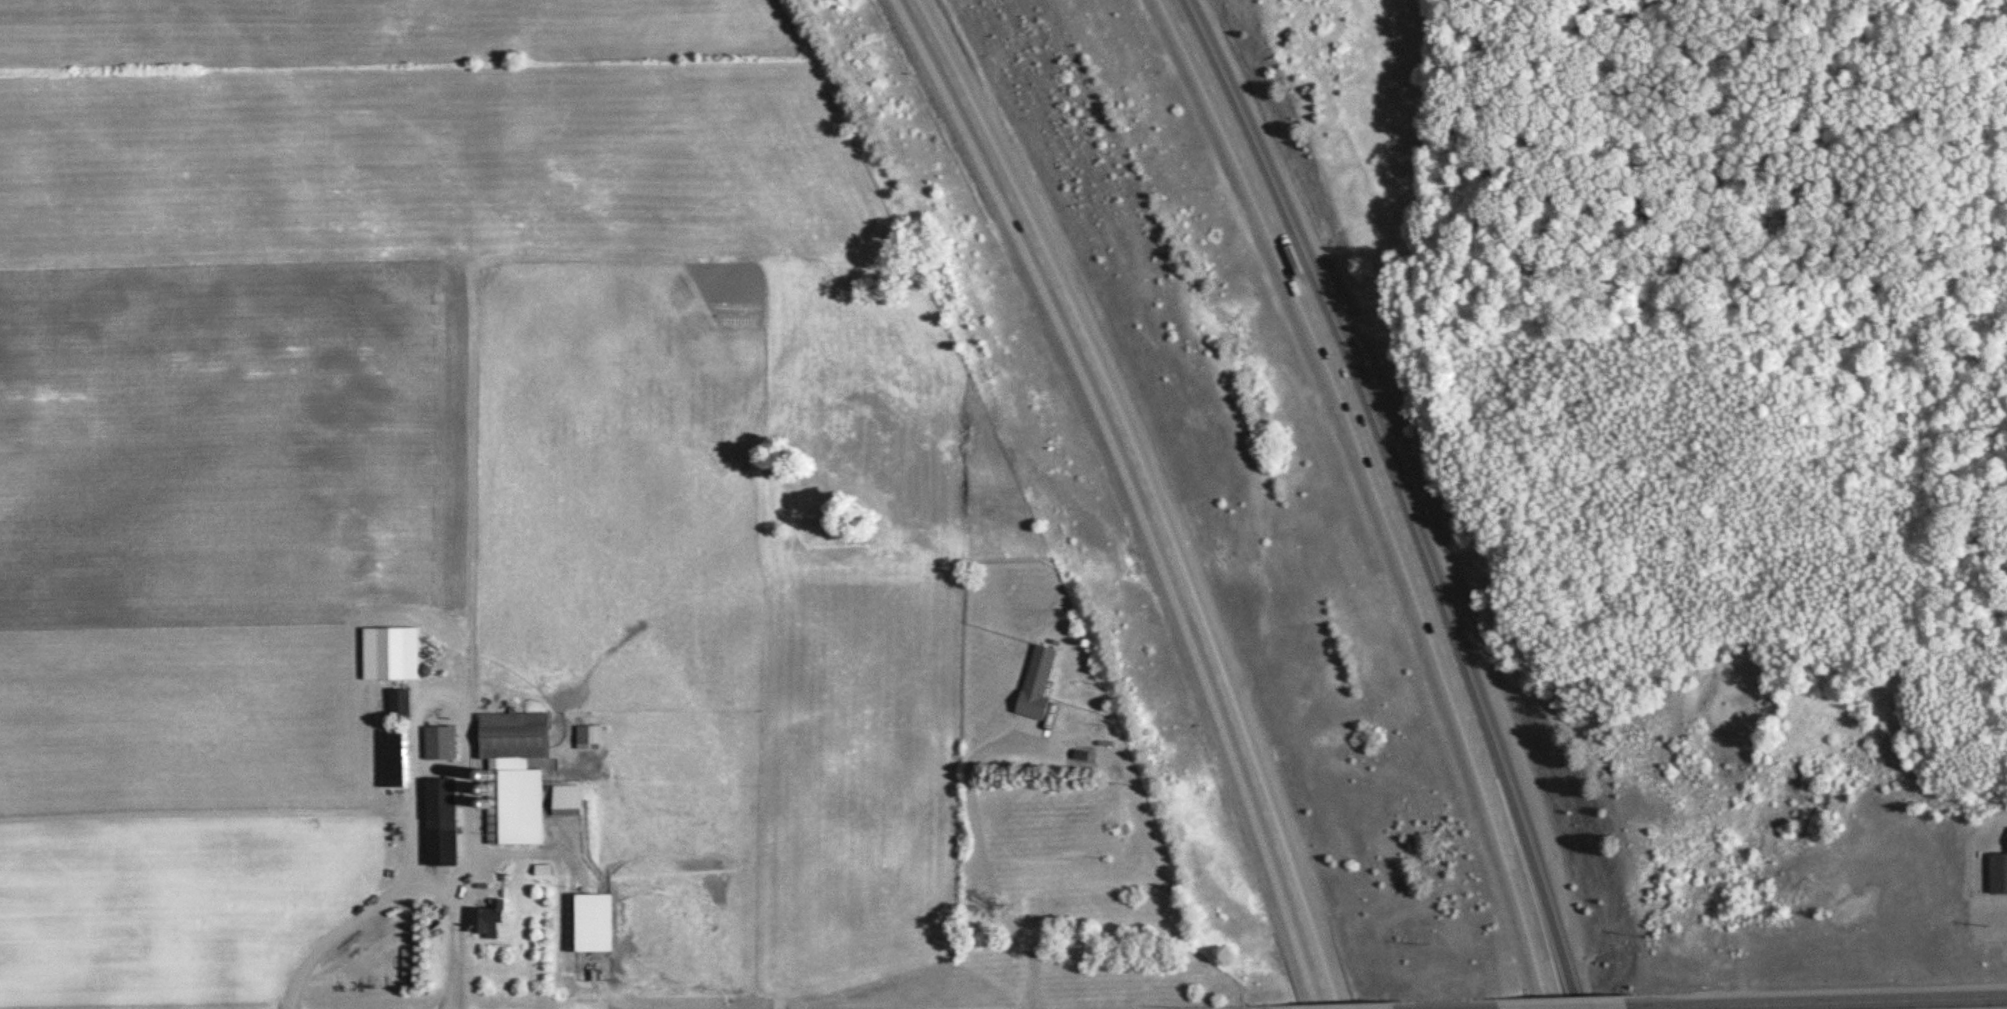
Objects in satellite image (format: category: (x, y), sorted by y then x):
road: (1138, 493)
road: (1389, 496)
building: (1047, 670)
building: (405, 705)
building: (523, 735)
building: (597, 736)
building: (447, 743)
building: (400, 758)
building: (577, 796)
building: (447, 826)
building: (1999, 871)
building: (496, 921)
building: (596, 922)
road: (1567, 963)
road: (1843, 1001)
road: (1652, 1008)

